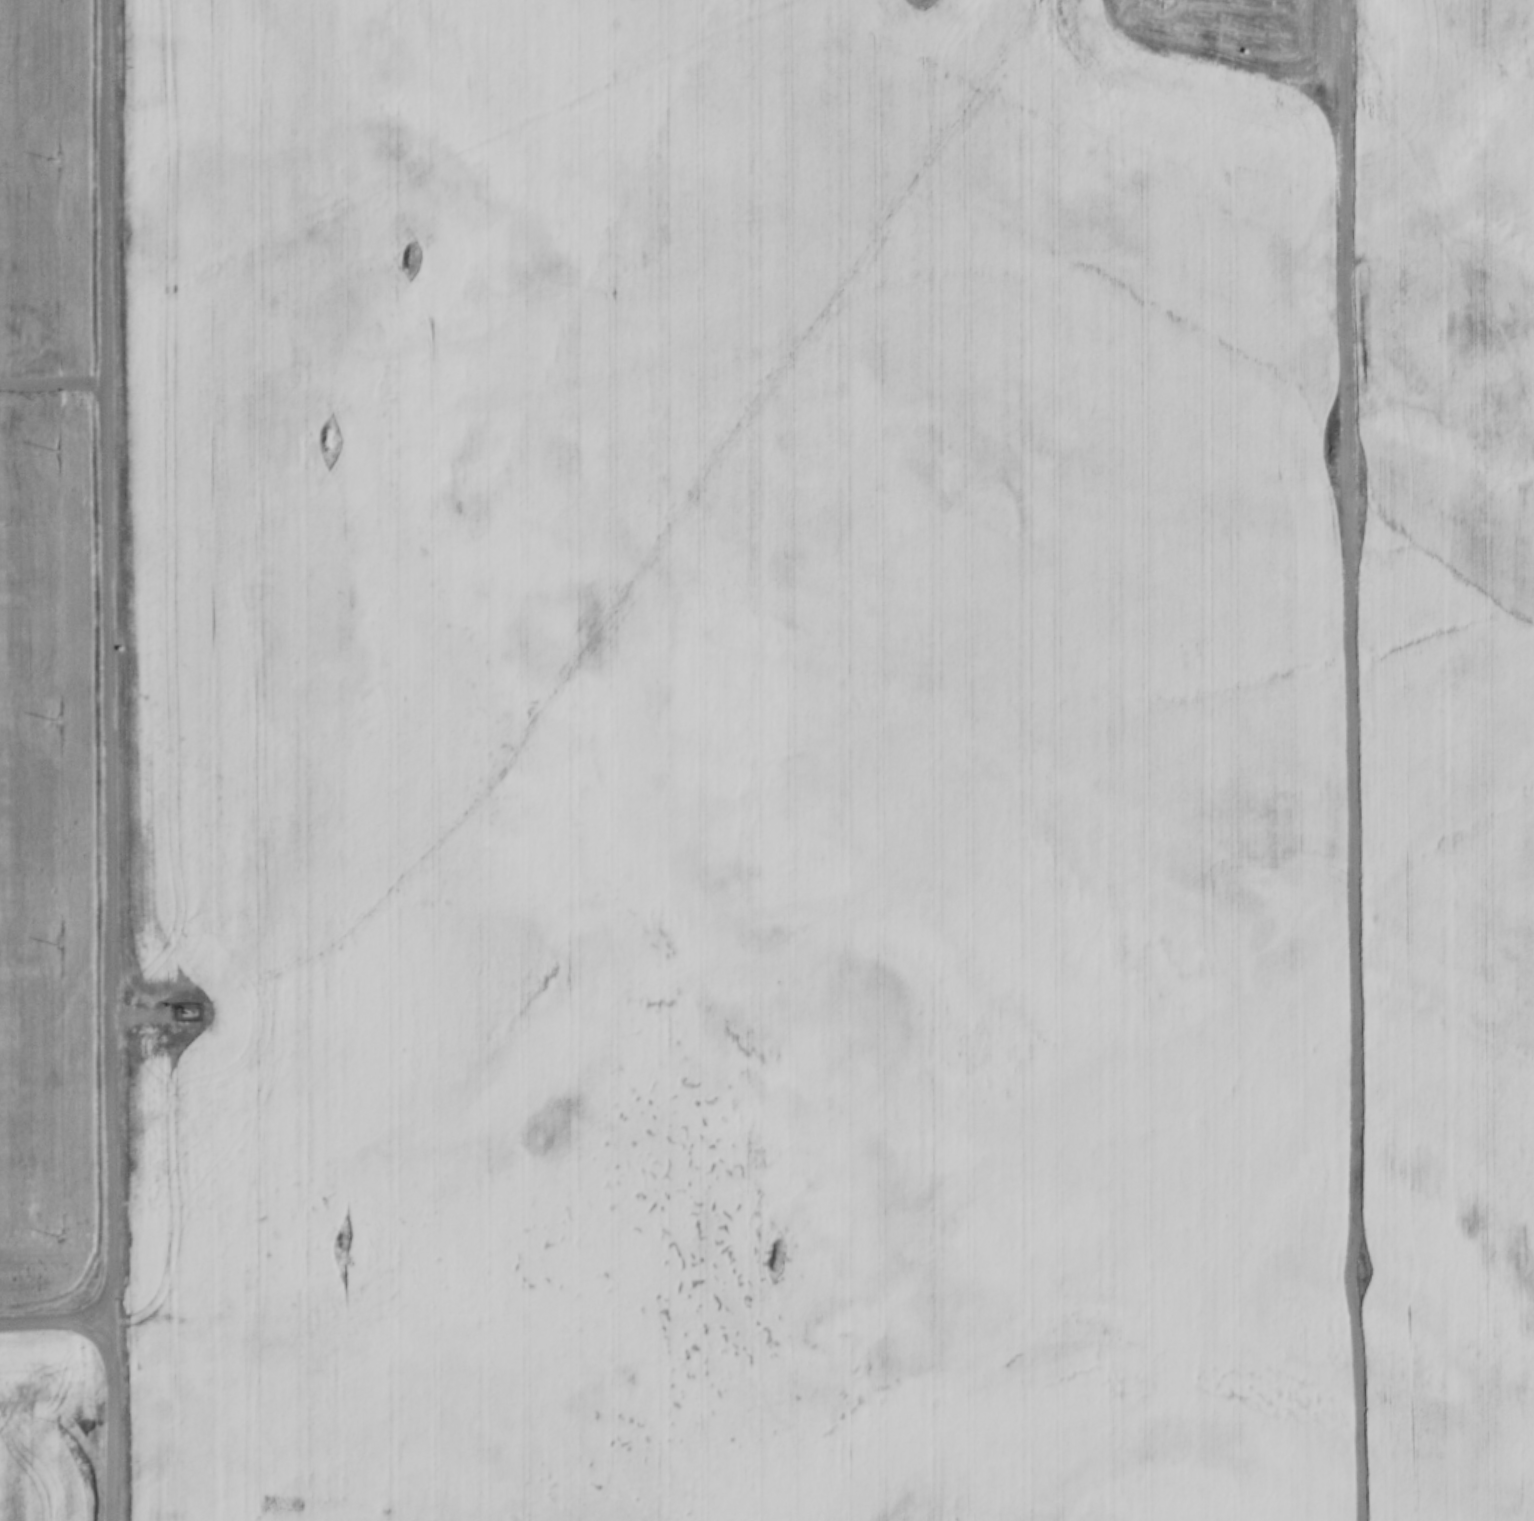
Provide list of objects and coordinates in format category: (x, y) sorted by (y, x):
road: (107, 659)
road: (55, 1321)
road: (110, 1420)

